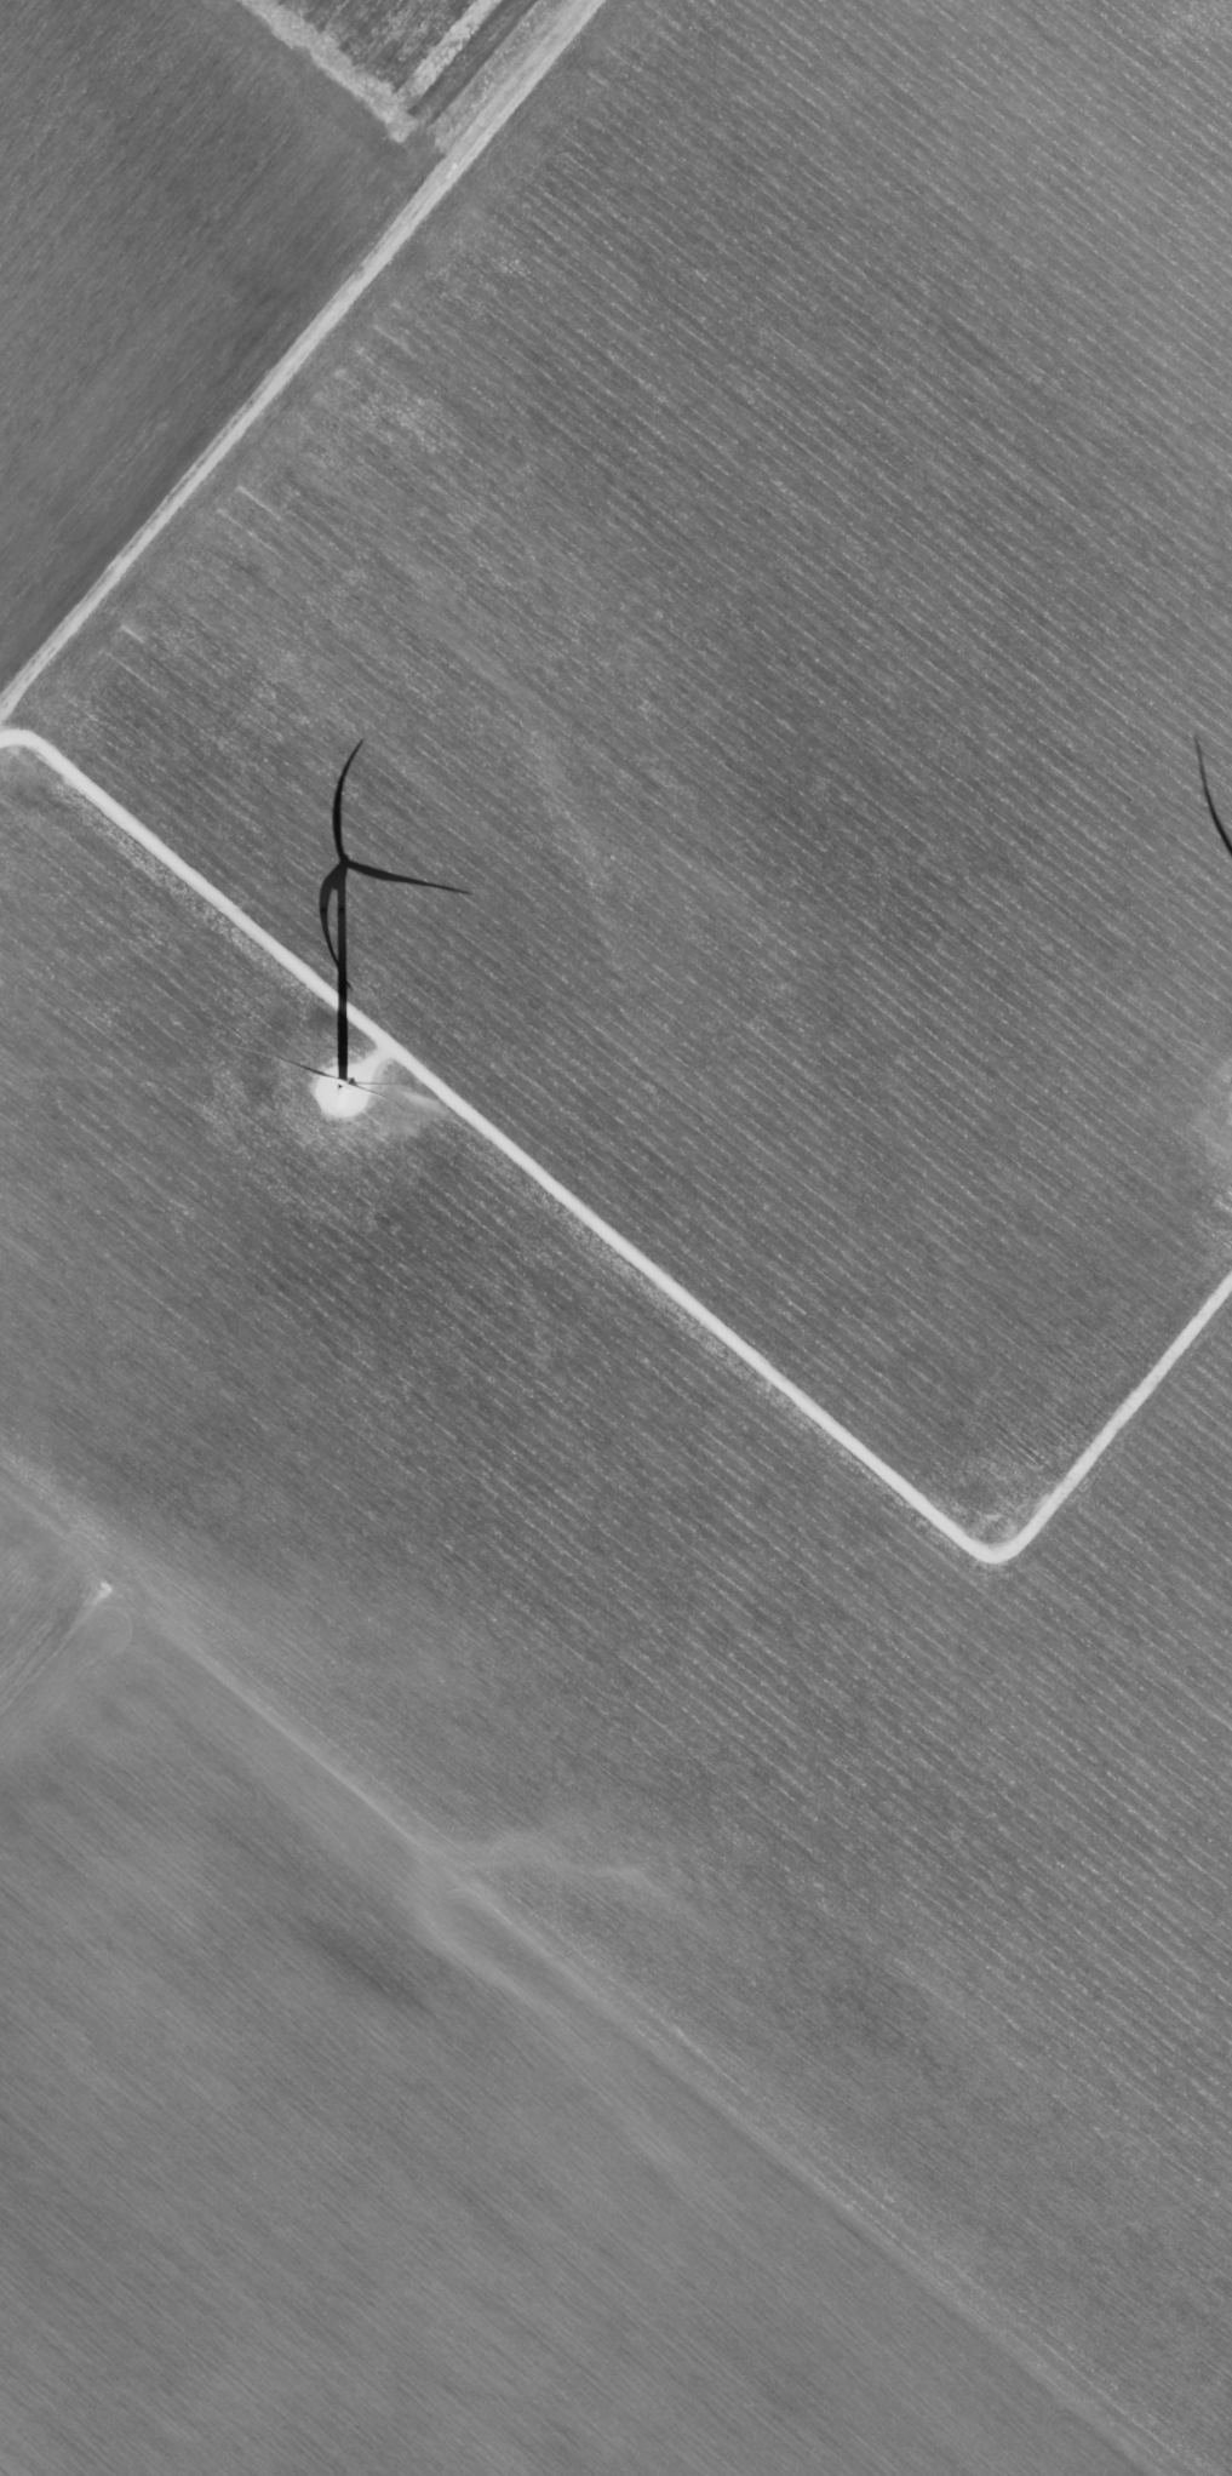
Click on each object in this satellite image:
wind turbine: (334, 1091)

